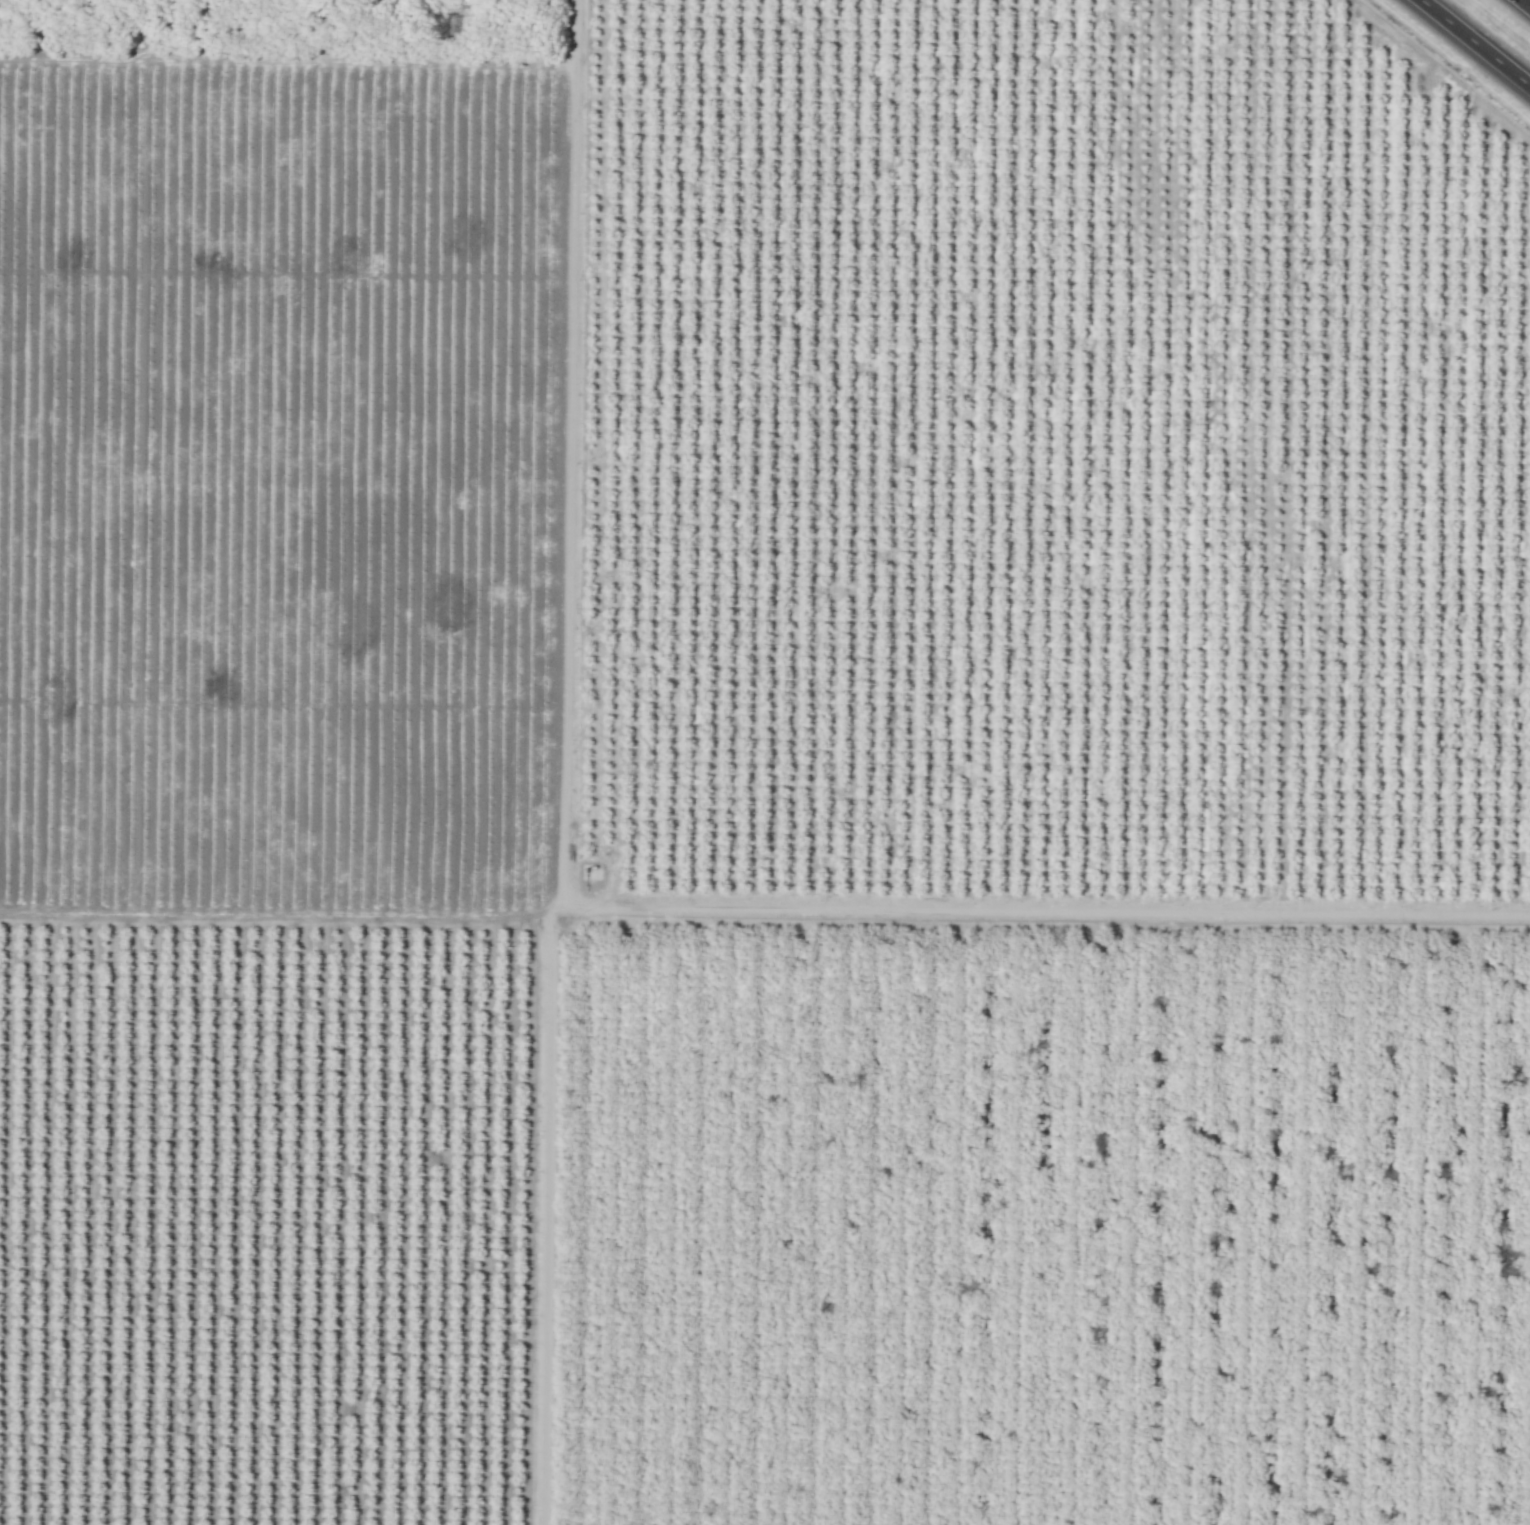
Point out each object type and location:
road: (1523, 5)
road: (1473, 45)

